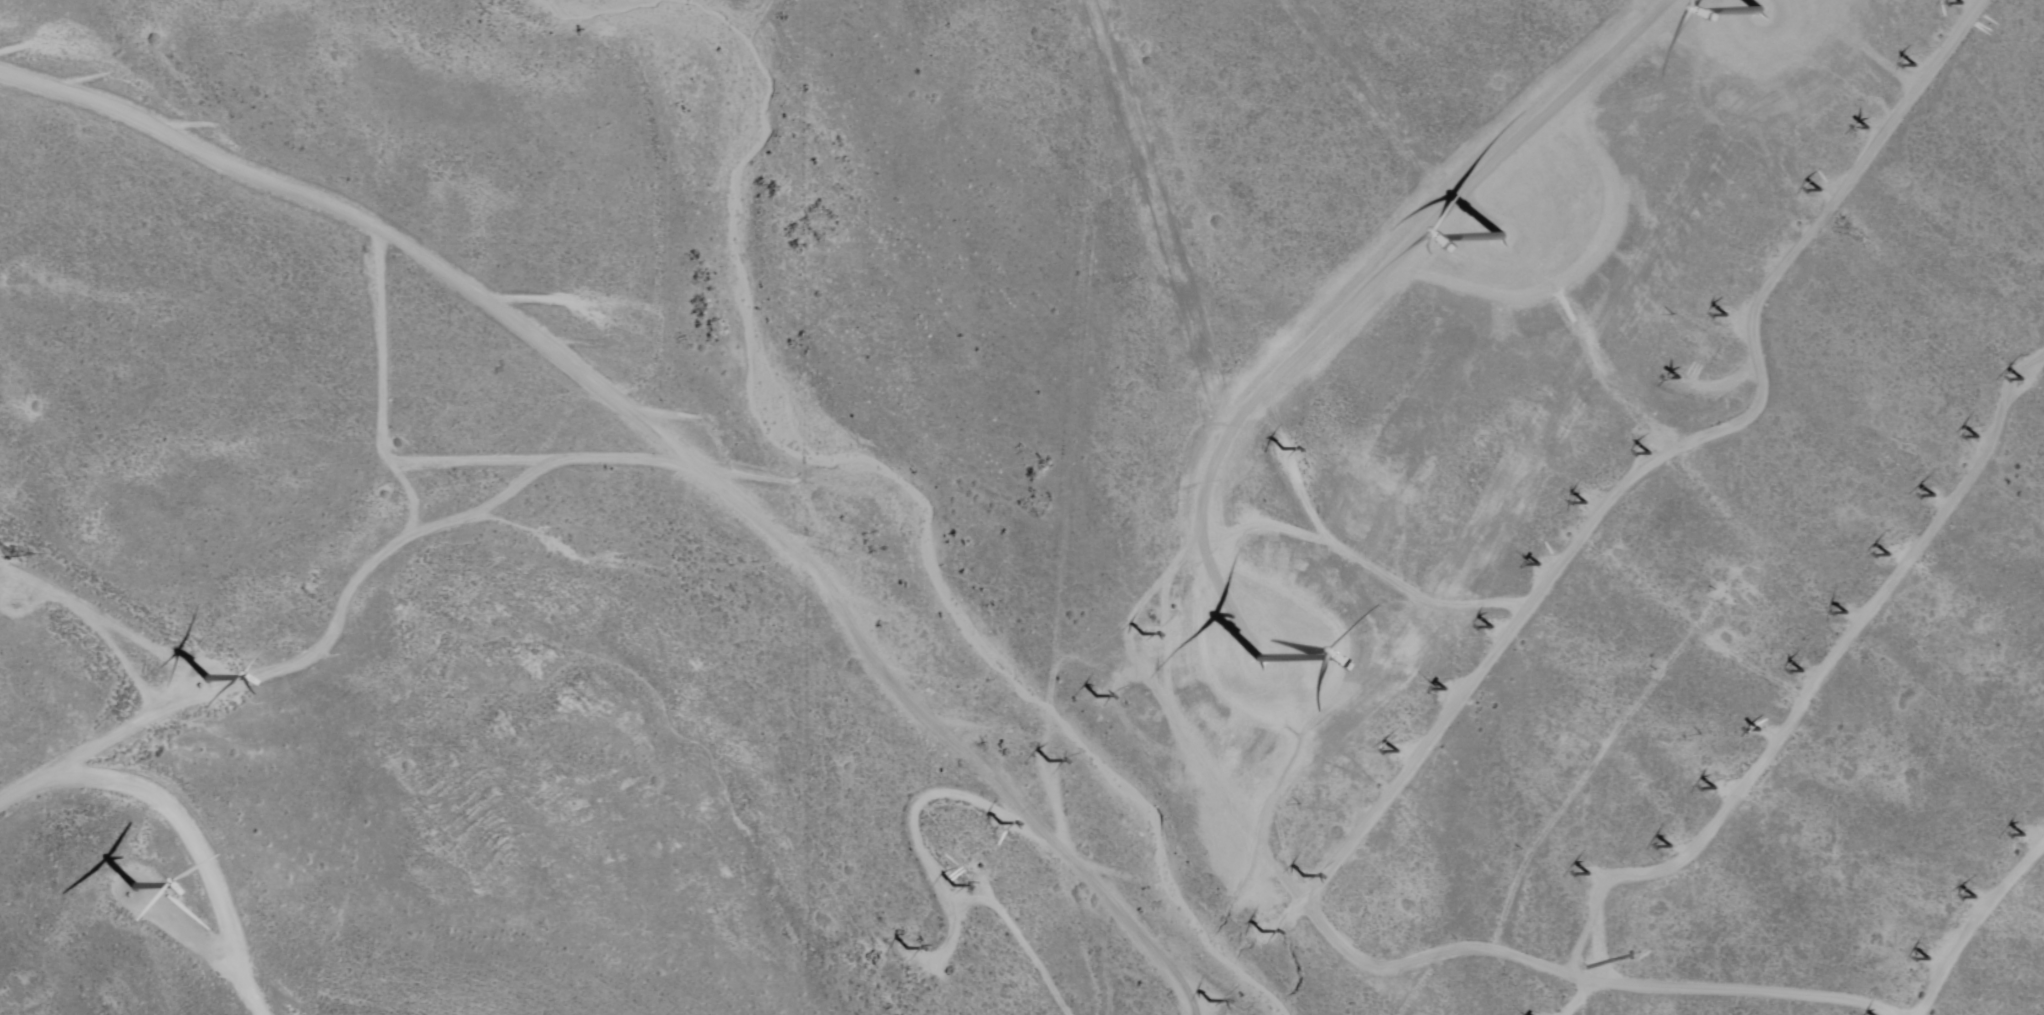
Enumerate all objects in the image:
wind turbine: (1960, 4)
wind turbine: (1754, 18)
wind turbine: (1913, 65)
road: (1900, 83)
wind turbine: (1867, 127)
wind turbine: (1822, 191)
wind turbine: (1496, 244)
wind turbine: (1774, 254)
wind turbine: (1728, 315)
wind turbine: (1681, 378)
wind turbine: (2028, 380)
wind turbine: (1981, 437)
wind turbine: (1284, 449)
wind turbine: (1647, 454)
wind turbine: (1937, 495)
wind turbine: (1589, 503)
wind turbine: (1890, 554)
wind turbine: (1848, 613)
wind turbine: (1493, 628)
wind turbine: (1144, 633)
wind turbine: (1255, 665)
wind turbine: (1806, 672)
wind turbine: (208, 679)
wind turbine: (1451, 688)
wind turbine: (1096, 697)
wind turbine: (1760, 729)
road: (84, 746)
wind turbine: (1398, 754)
wind turbine: (1043, 764)
wind turbine: (1719, 787)
wind turbine: (1351, 814)
road: (1724, 816)
wind turbine: (999, 824)
wind turbine: (2024, 834)
road: (194, 845)
wind turbine: (1673, 847)
wind turbine: (1587, 873)
wind turbine: (1304, 874)
wind turbine: (952, 885)
wind turbine: (132, 890)
wind turbine: (1972, 897)
road: (1973, 925)
wind turbine: (1264, 933)
wind turbine: (902, 948)
wind turbine: (1926, 959)
wind turbine: (1584, 965)
wind turbine: (1213, 1001)

